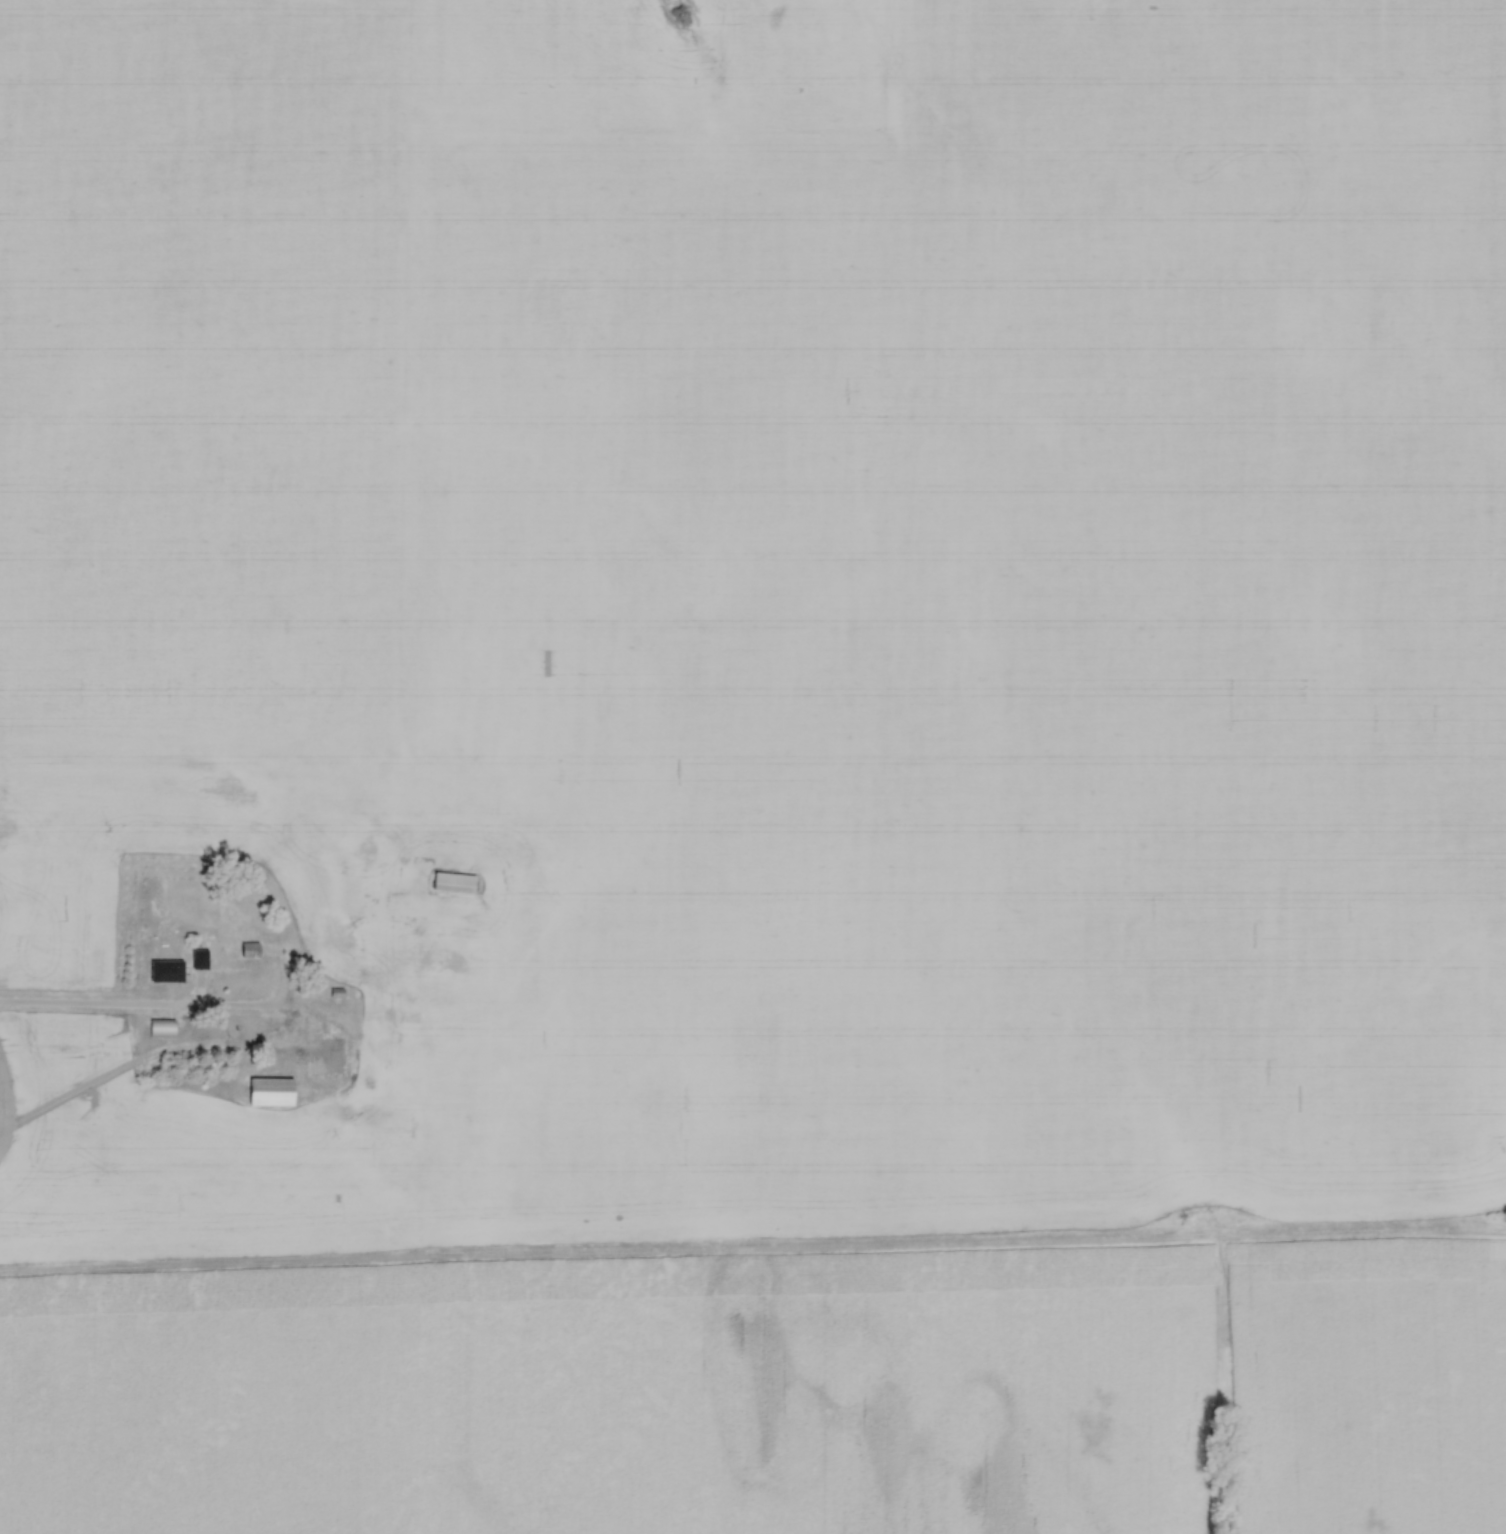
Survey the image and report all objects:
building: (454, 882)
building: (305, 949)
building: (250, 950)
building: (199, 959)
building: (165, 971)
road: (165, 1009)
building: (365, 1010)
building: (164, 1029)
building: (390, 1046)
building: (327, 1055)
building: (270, 1091)

